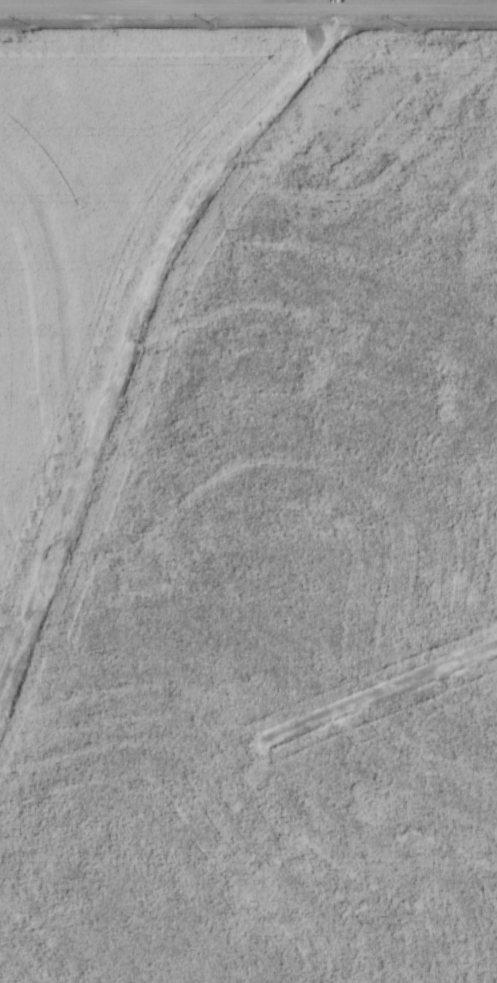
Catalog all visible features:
road: (20, 2)
road: (147, 2)
road: (248, 4)

